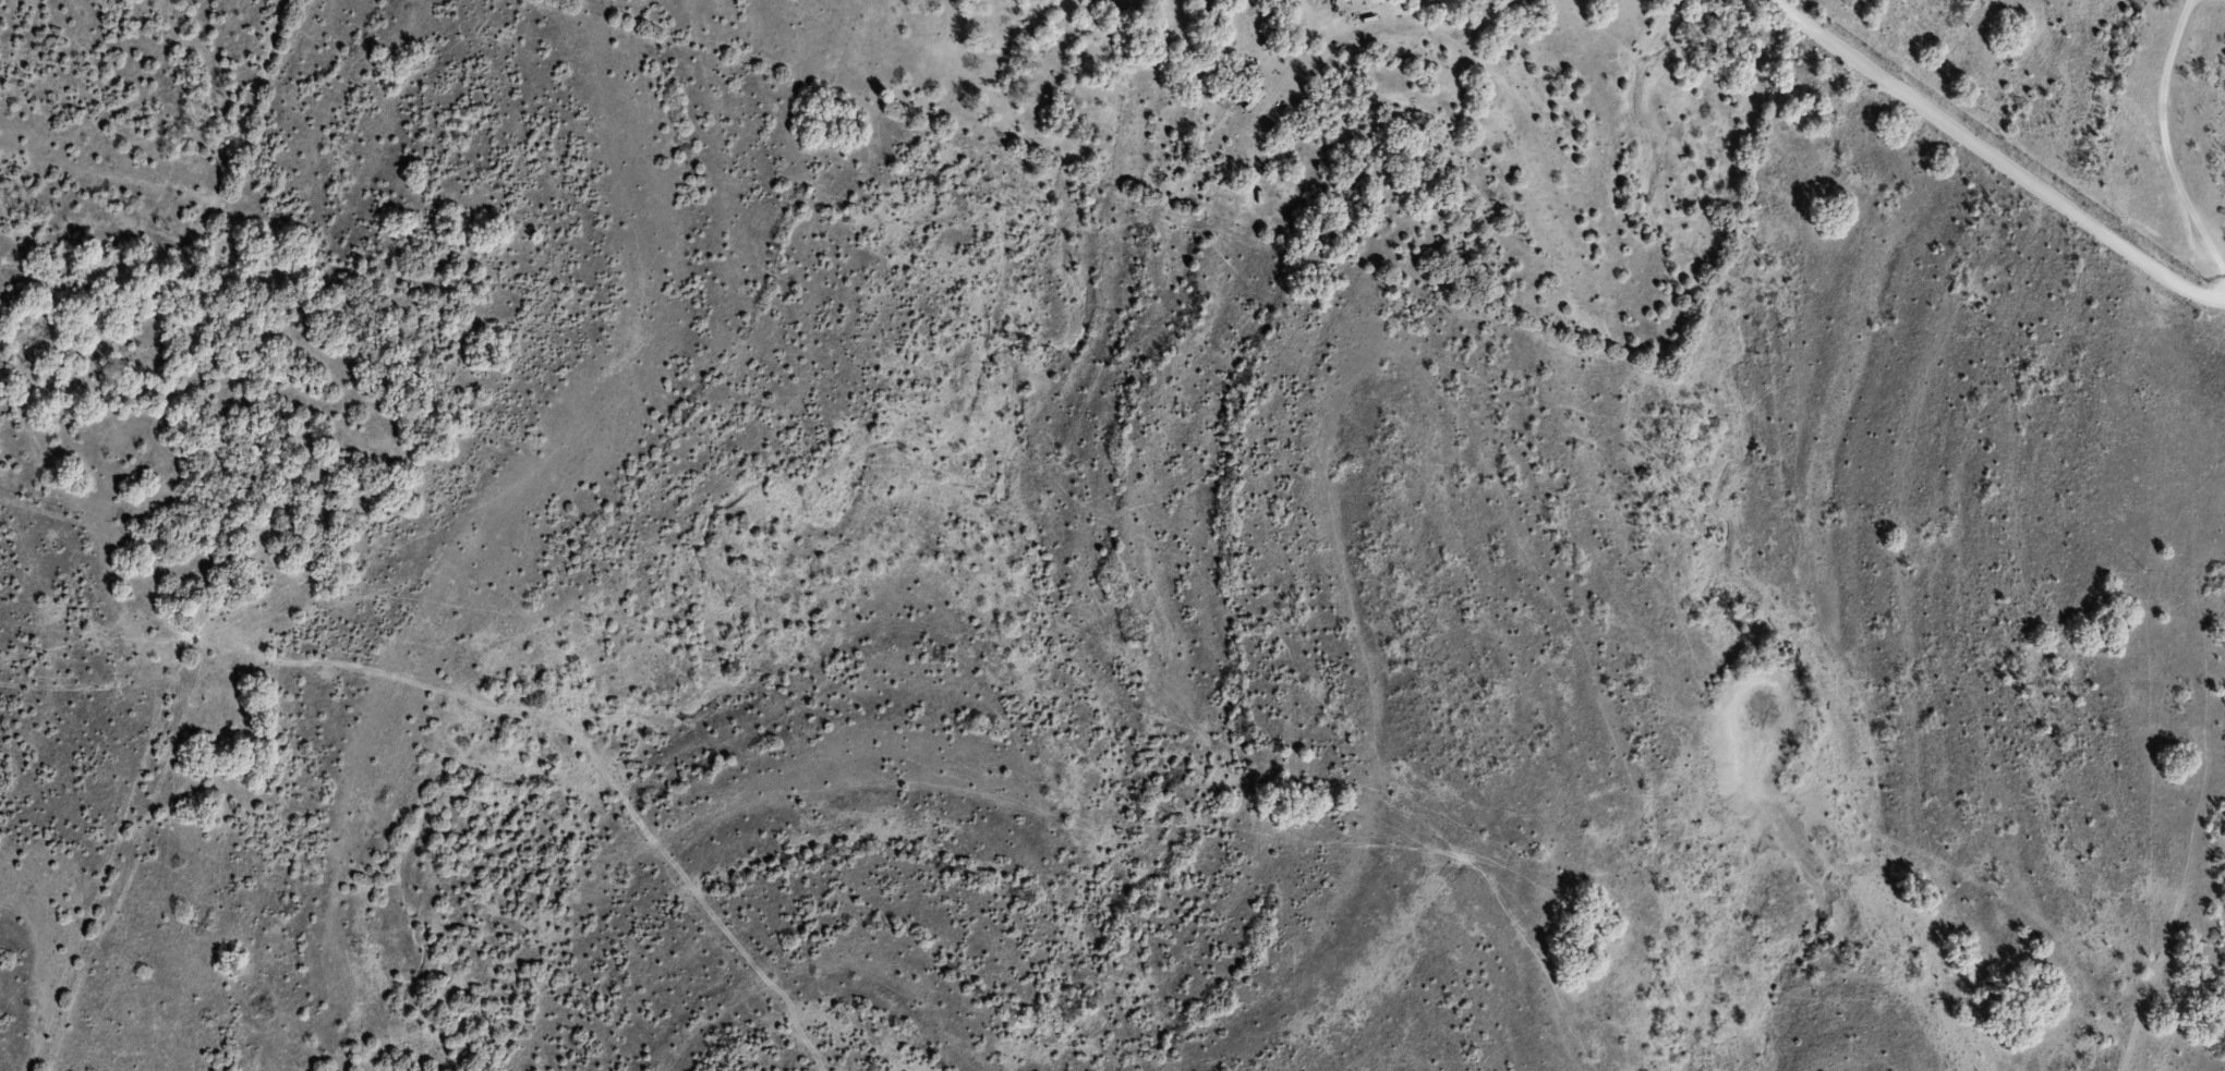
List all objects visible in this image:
road: (1987, 159)

